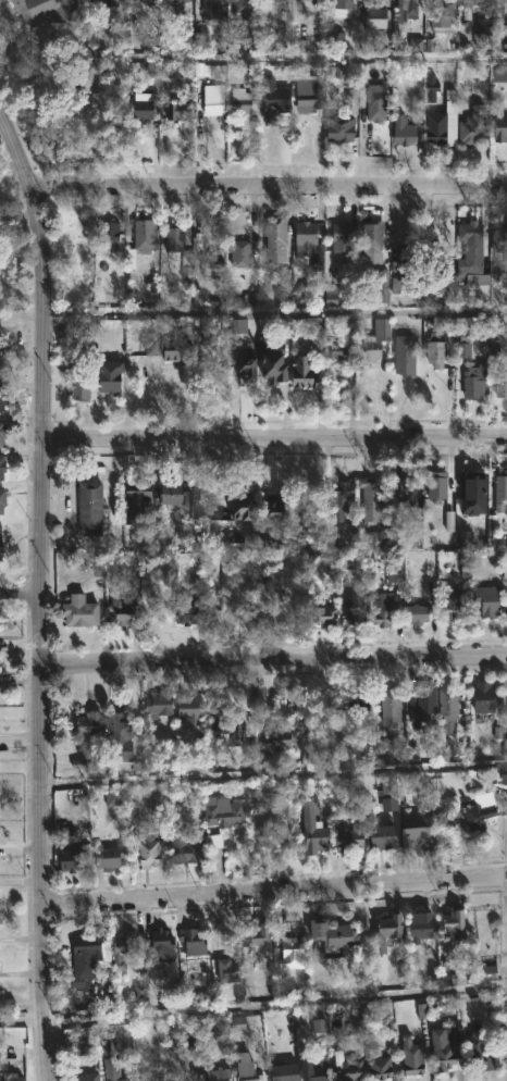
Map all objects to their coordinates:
building: (171, 0)
building: (178, 0)
building: (283, 0)
building: (185, 1)
building: (273, 1)
building: (505, 1)
building: (107, 2)
building: (149, 2)
building: (309, 4)
building: (463, 4)
building: (242, 7)
building: (406, 7)
building: (212, 8)
building: (341, 9)
building: (49, 10)
building: (372, 17)
building: (440, 17)
building: (240, 40)
road: (329, 59)
building: (90, 74)
building: (500, 75)
building: (307, 94)
building: (374, 97)
building: (213, 99)
building: (242, 102)
building: (350, 102)
building: (148, 105)
building: (272, 105)
building: (181, 110)
building: (442, 117)
building: (499, 127)
building: (471, 128)
building: (338, 129)
building: (401, 132)
road: (268, 186)
building: (144, 233)
building: (110, 235)
building: (372, 235)
building: (305, 236)
building: (338, 236)
building: (471, 236)
building: (502, 237)
building: (273, 239)
building: (175, 241)
building: (238, 252)
building: (211, 266)
building: (442, 266)
building: (409, 268)
road: (22, 293)
building: (475, 293)
road: (274, 313)
building: (373, 339)
building: (404, 348)
building: (180, 350)
building: (434, 352)
building: (338, 355)
building: (270, 358)
building: (245, 368)
building: (304, 370)
building: (110, 375)
building: (473, 380)
building: (82, 382)
building: (500, 385)
building: (3, 400)
building: (3, 432)
road: (273, 436)
building: (2, 467)
building: (435, 487)
building: (499, 492)
building: (177, 493)
building: (406, 493)
building: (341, 497)
building: (370, 499)
building: (2, 500)
building: (141, 506)
building: (271, 506)
building: (88, 508)
building: (240, 508)
building: (1, 547)
road: (34, 593)
road: (16, 597)
building: (485, 600)
building: (449, 601)
building: (505, 601)
building: (127, 608)
building: (258, 609)
building: (353, 609)
building: (382, 609)
building: (83, 611)
building: (194, 611)
building: (416, 613)
building: (322, 617)
road: (270, 658)
building: (482, 696)
building: (447, 700)
building: (424, 701)
building: (388, 703)
building: (157, 704)
building: (355, 706)
building: (190, 708)
building: (89, 722)
building: (228, 728)
building: (120, 734)
building: (284, 745)
road: (271, 780)
building: (221, 811)
building: (475, 811)
building: (311, 824)
building: (348, 836)
building: (380, 836)
building: (412, 837)
building: (150, 847)
building: (186, 850)
building: (107, 857)
building: (71, 860)
road: (272, 894)
building: (452, 925)
building: (419, 928)
building: (384, 932)
building: (333, 935)
building: (258, 937)
building: (190, 942)
building: (156, 945)
building: (122, 948)
building: (85, 952)
building: (289, 953)
building: (225, 968)
road: (253, 1015)
building: (441, 1048)
building: (477, 1052)
building: (411, 1056)
building: (376, 1065)
building: (346, 1068)
building: (112, 1069)
building: (245, 1069)
building: (310, 1071)
building: (282, 1072)
building: (213, 1076)
building: (12, 1077)
building: (87, 1077)
building: (151, 1077)
building: (181, 1078)
building: (128, 1080)

